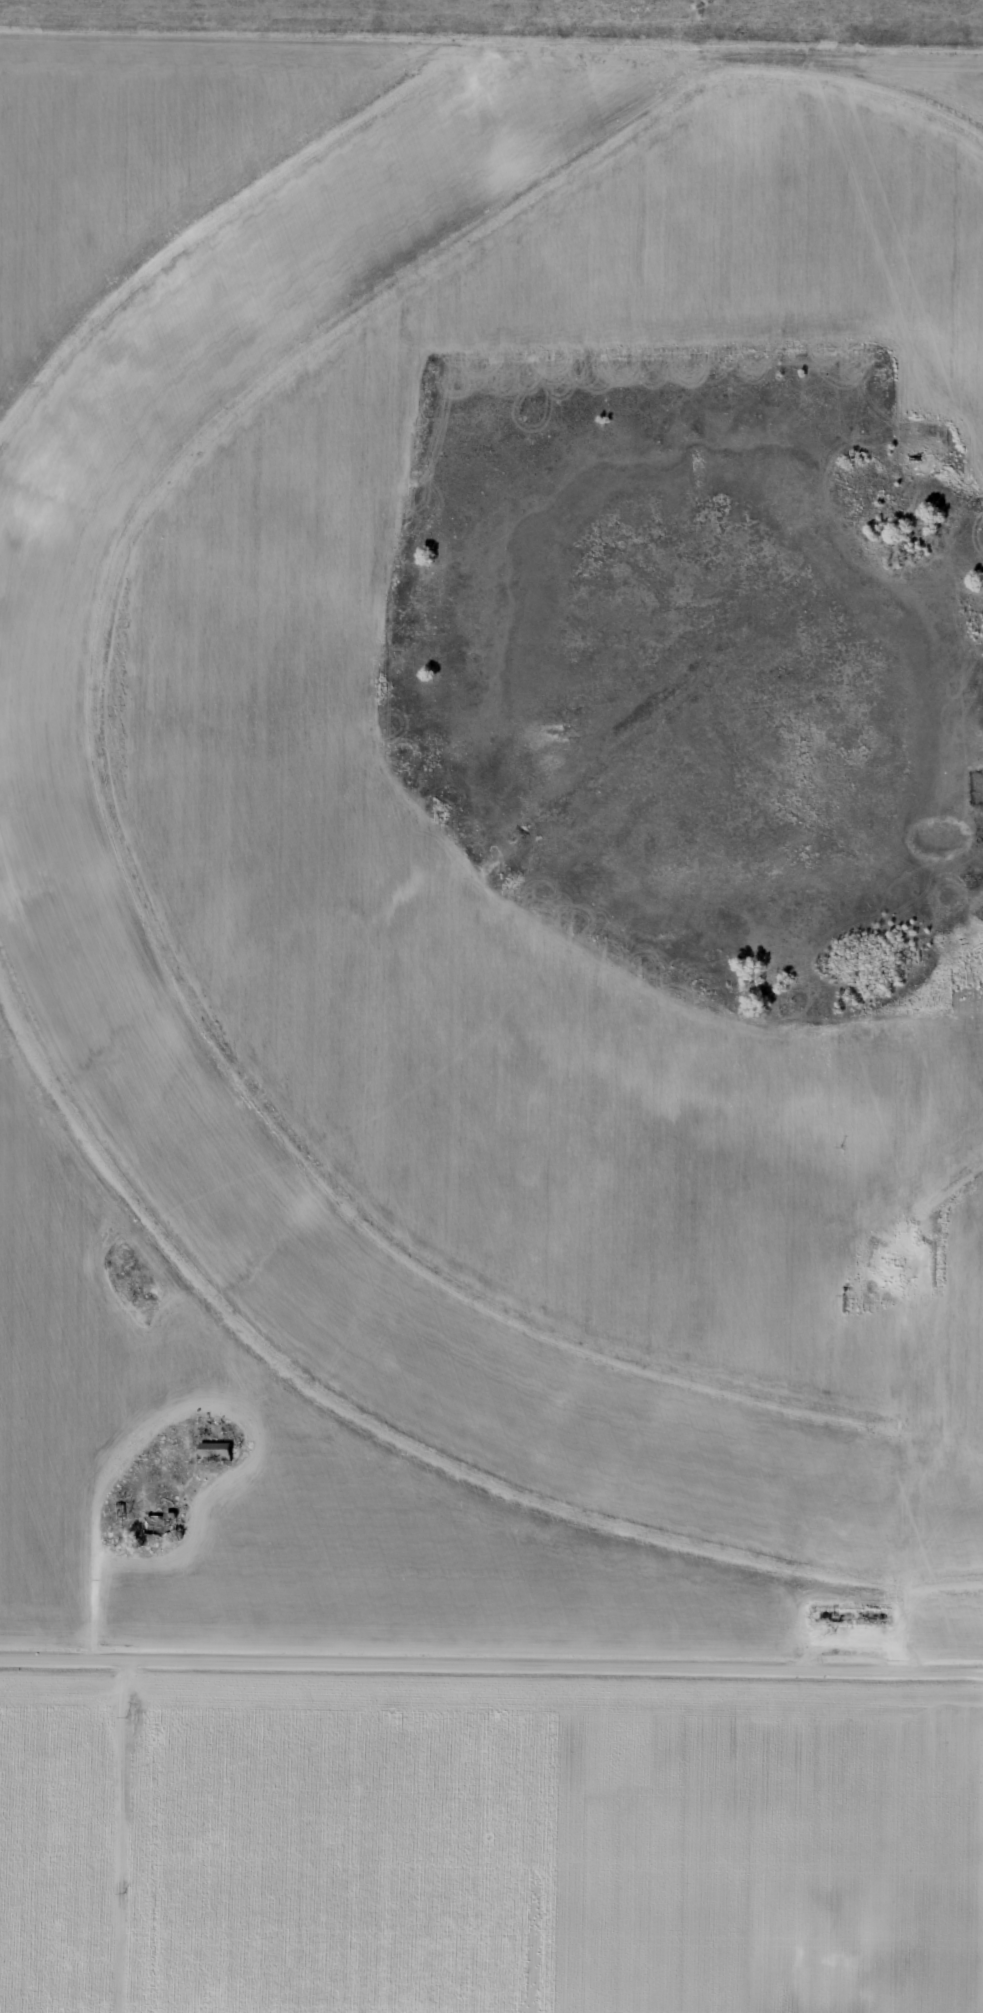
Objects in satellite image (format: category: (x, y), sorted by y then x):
road: (491, 47)
petroleum well: (889, 1263)
road: (193, 1412)
road: (491, 1677)

